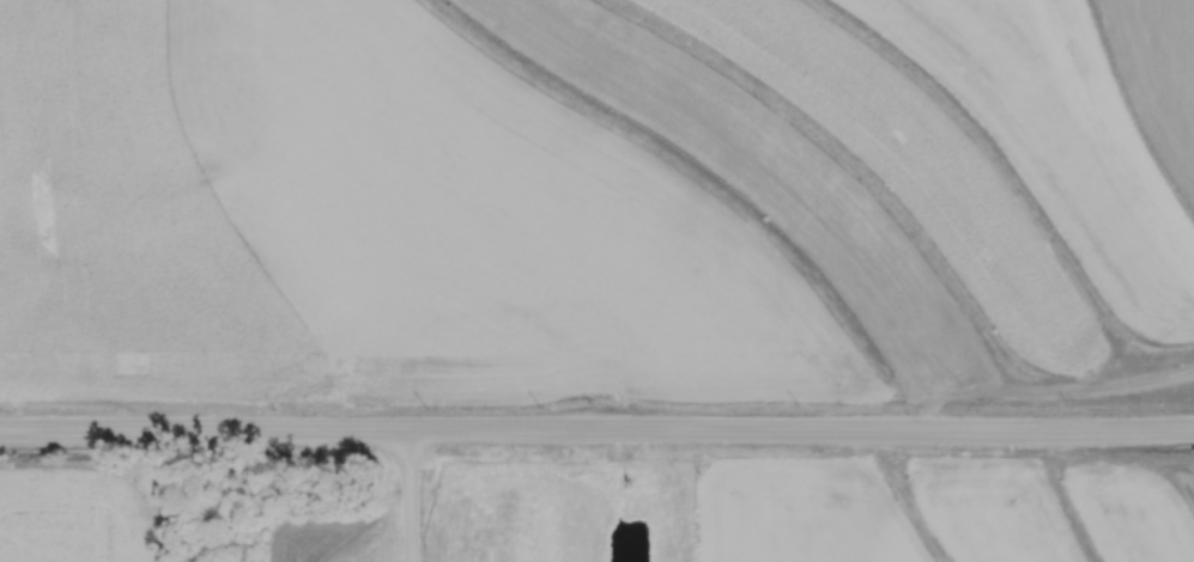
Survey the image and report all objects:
road: (596, 432)
road: (408, 496)

